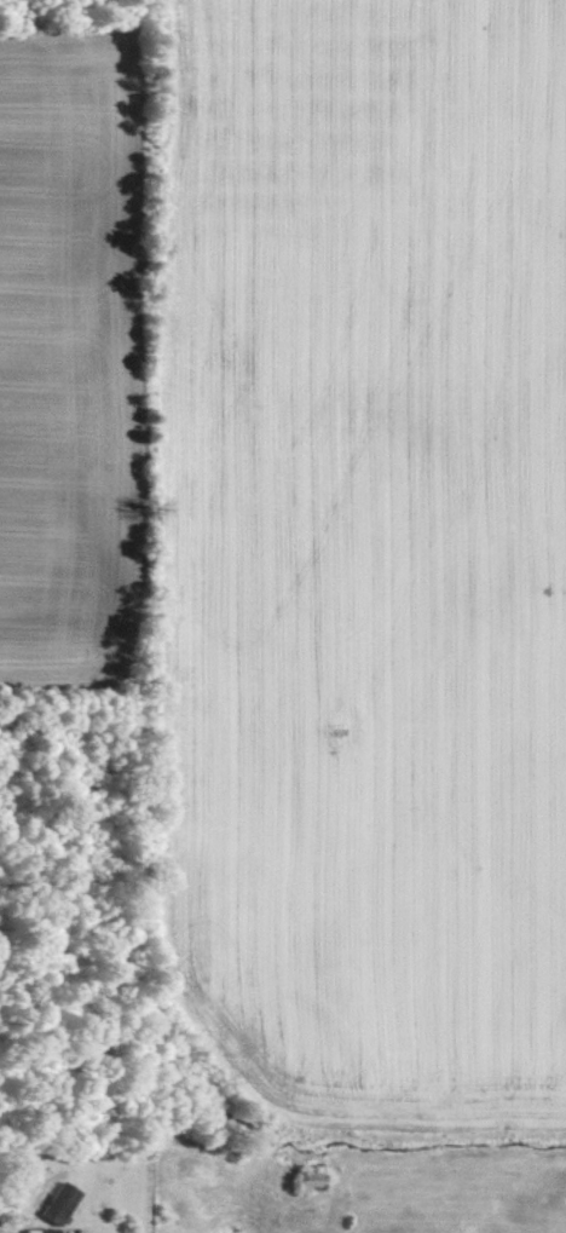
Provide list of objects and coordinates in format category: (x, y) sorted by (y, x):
building: (54, 1199)
building: (30, 1229)

